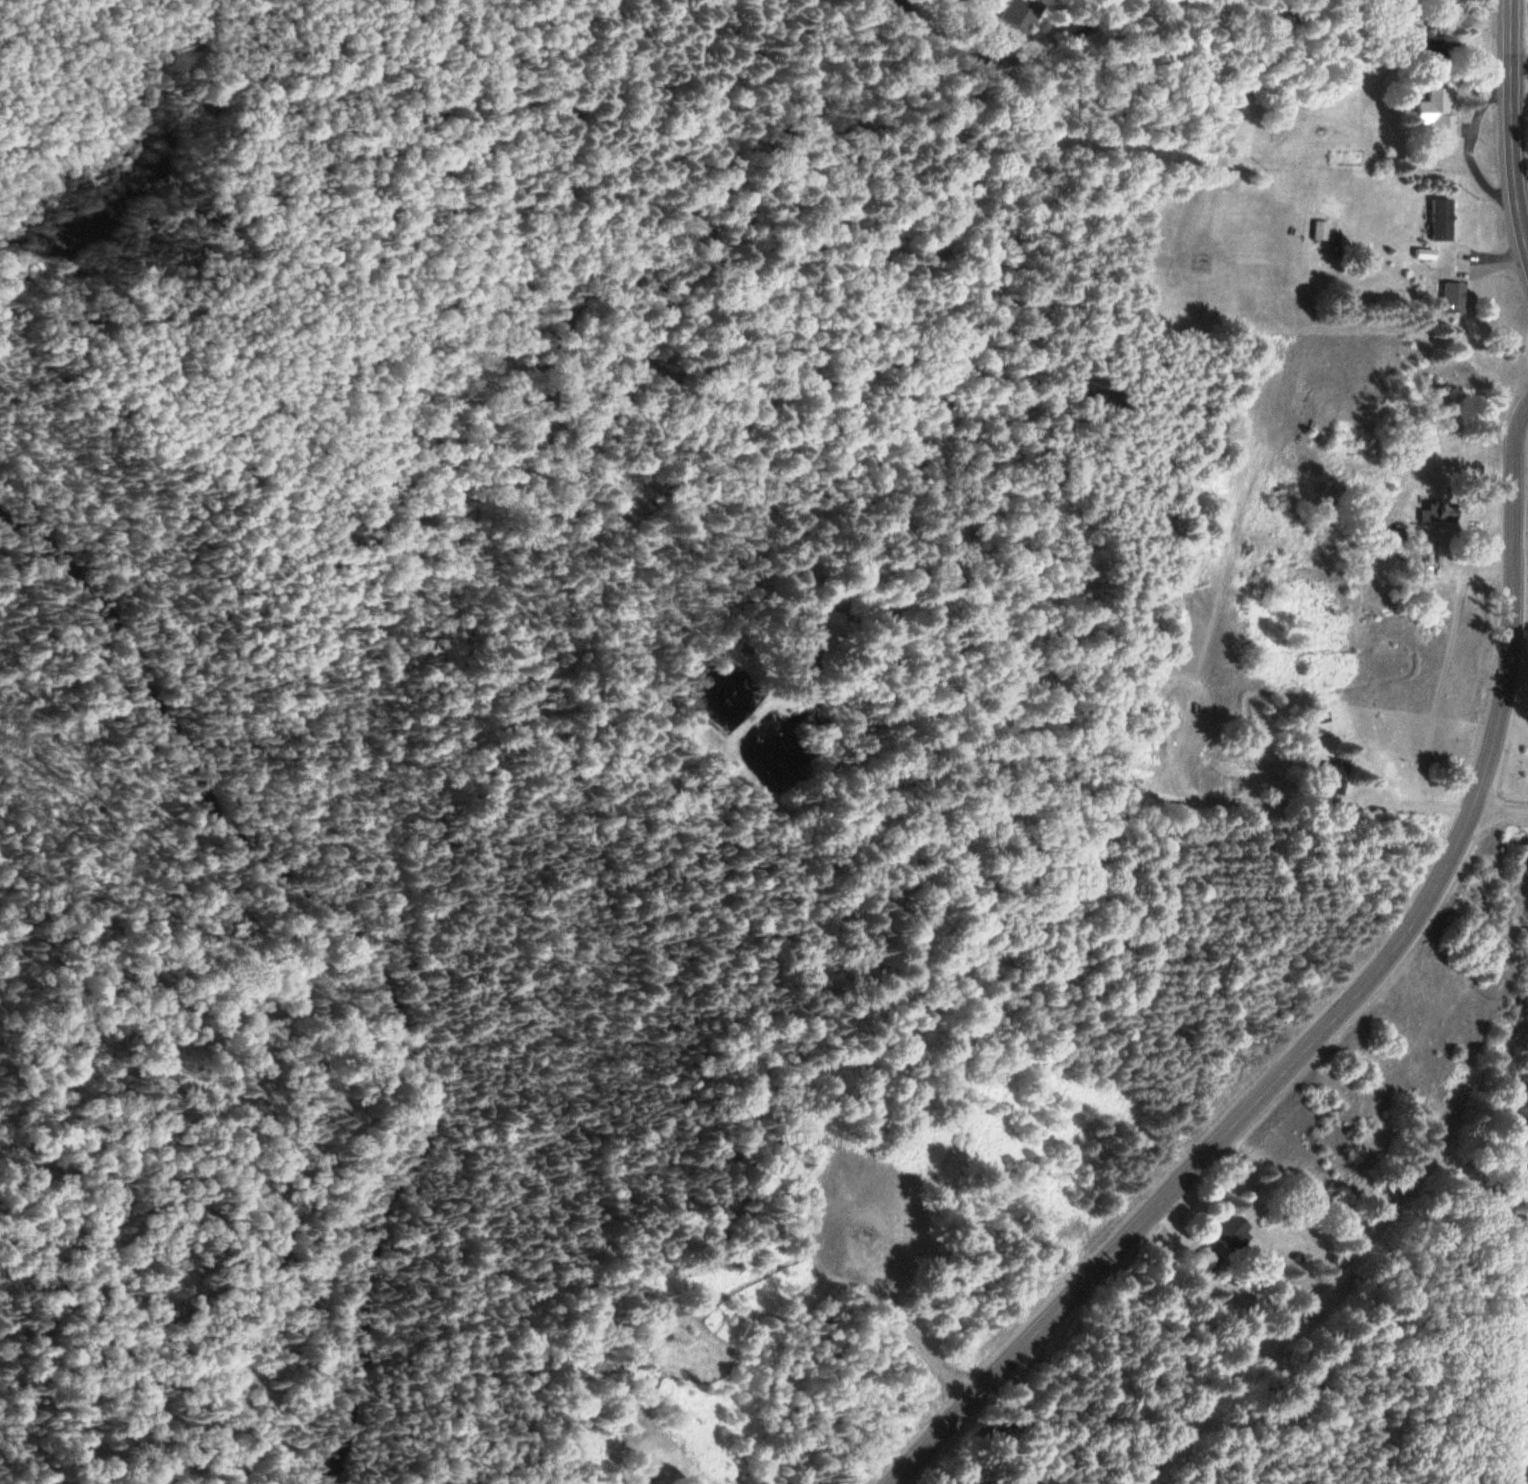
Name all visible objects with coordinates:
road: (1011, 51)
building: (1436, 114)
road: (1512, 124)
building: (1440, 220)
building: (1452, 299)
building: (1431, 513)
building: (1382, 541)
building: (805, 646)
building: (1330, 774)
road: (1120, 788)
road: (1502, 815)
road: (1344, 1009)
building: (1230, 1235)
building: (1208, 1260)
road: (1514, 1383)

